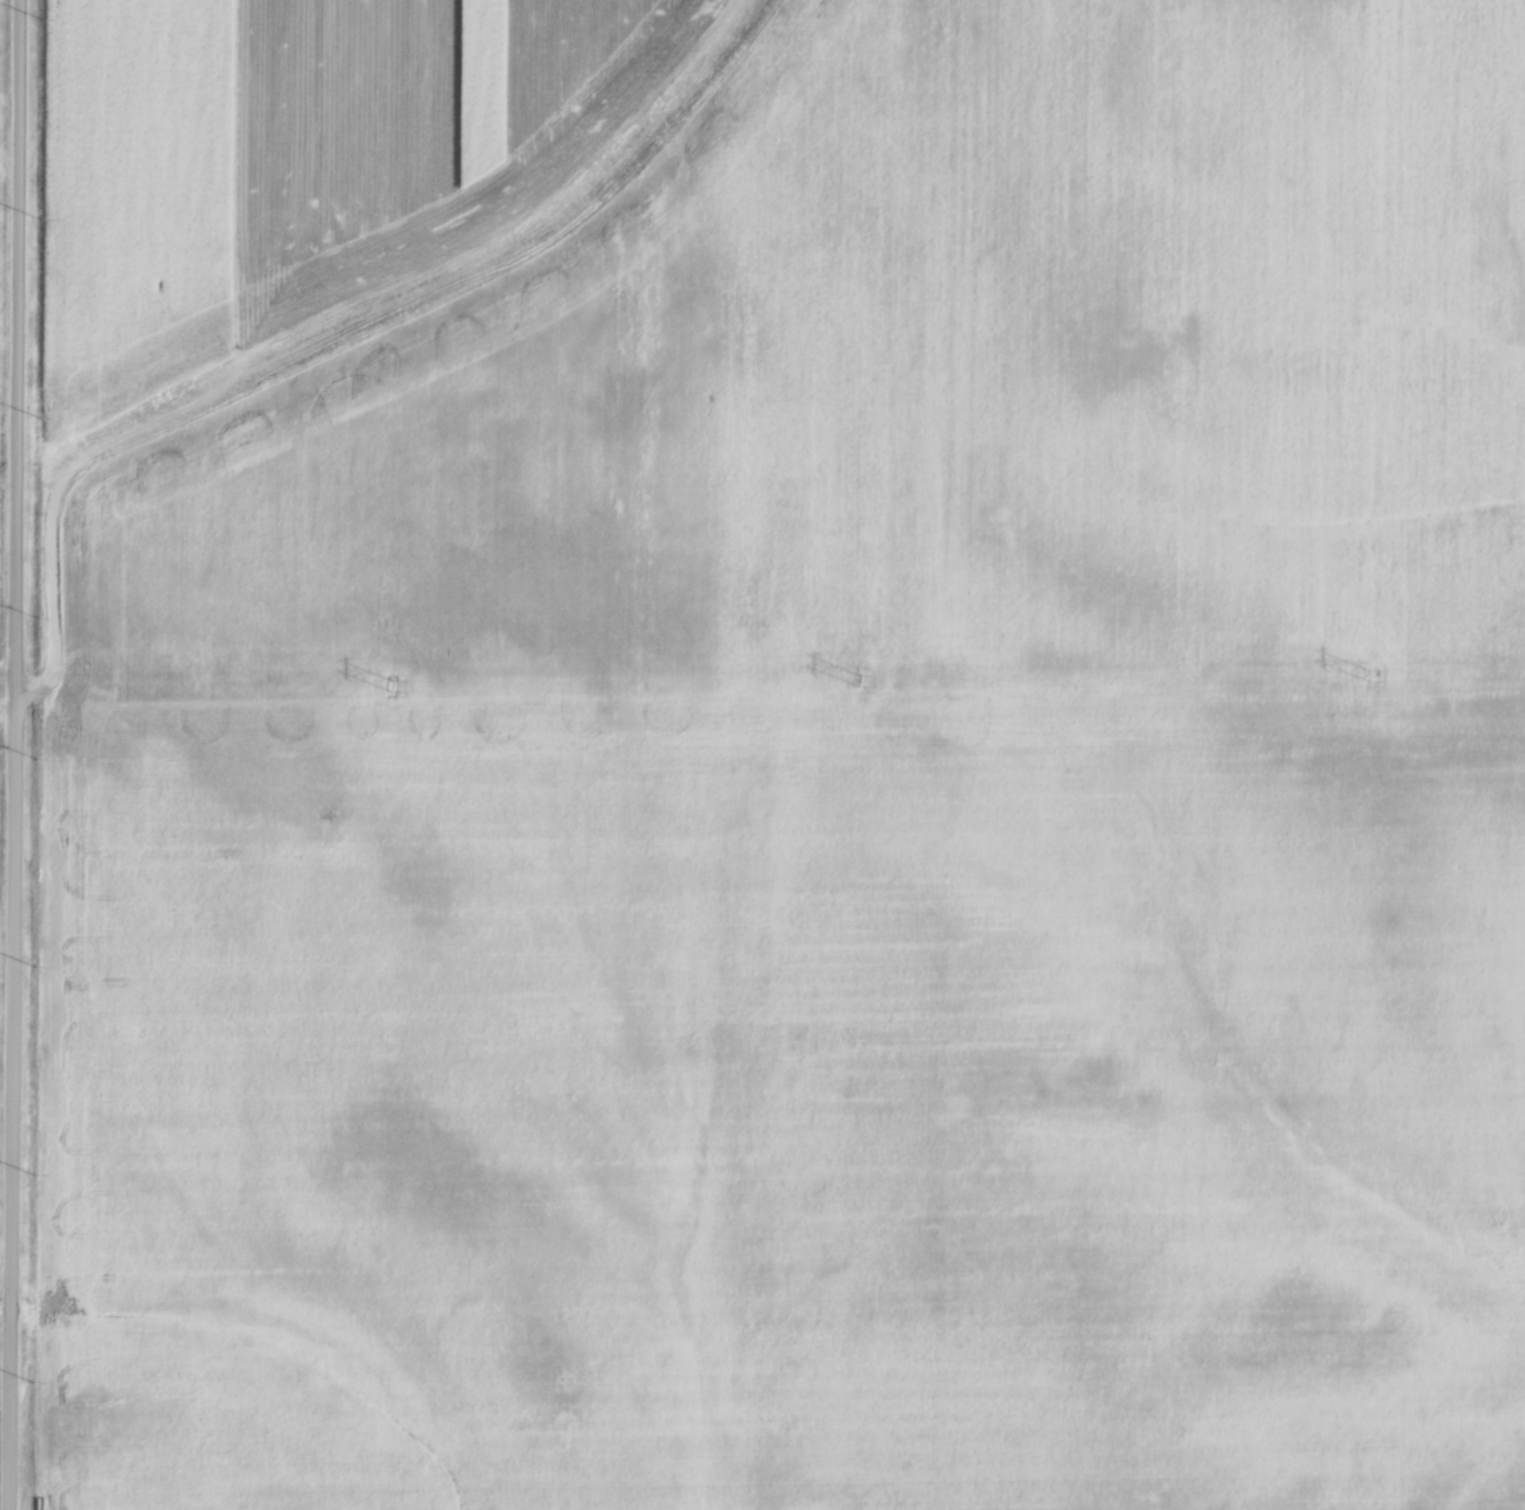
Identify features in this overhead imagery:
building: (16, 244)
power tower: (1367, 677)
power tower: (856, 682)
power tower: (387, 686)
road: (11, 754)

